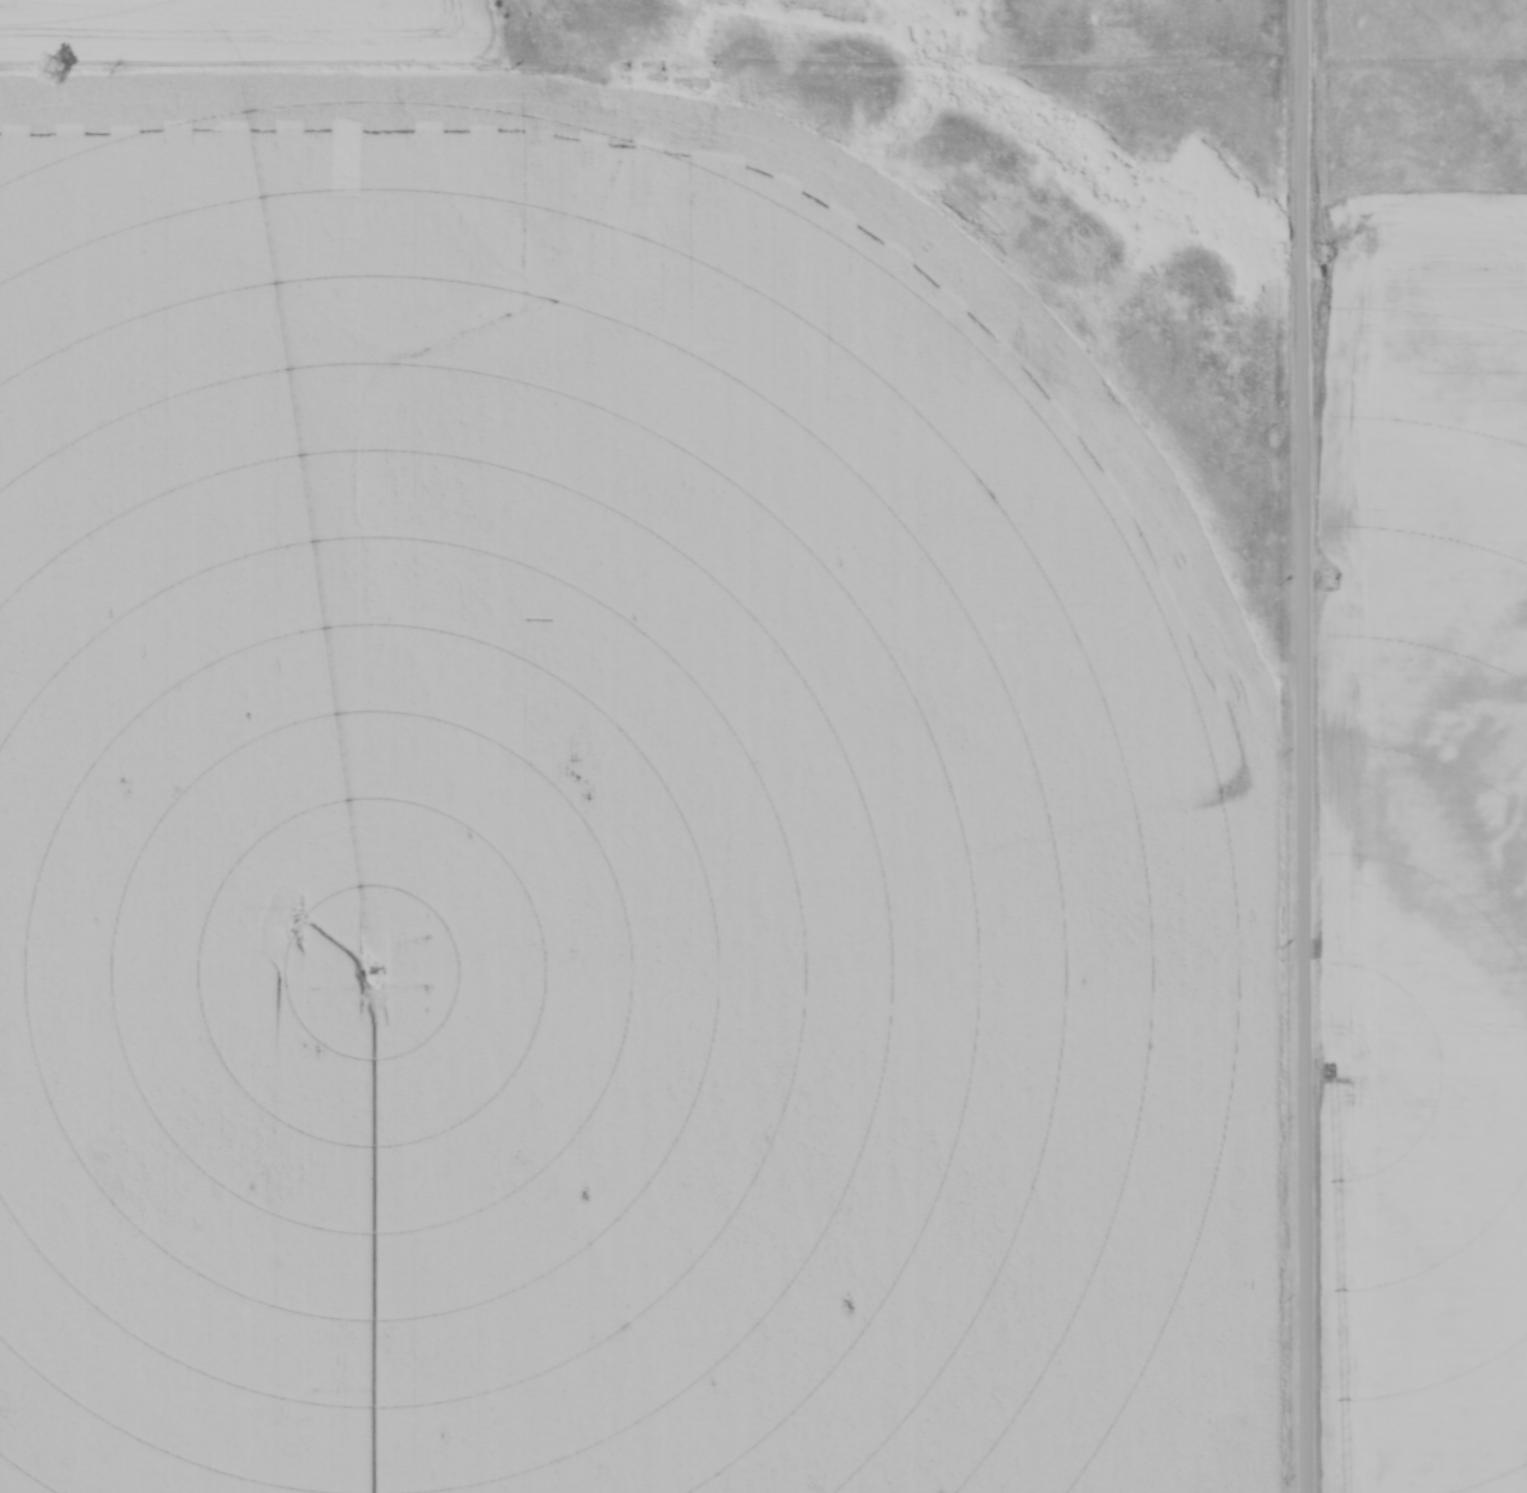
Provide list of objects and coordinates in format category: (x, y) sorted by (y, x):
road: (1304, 746)

